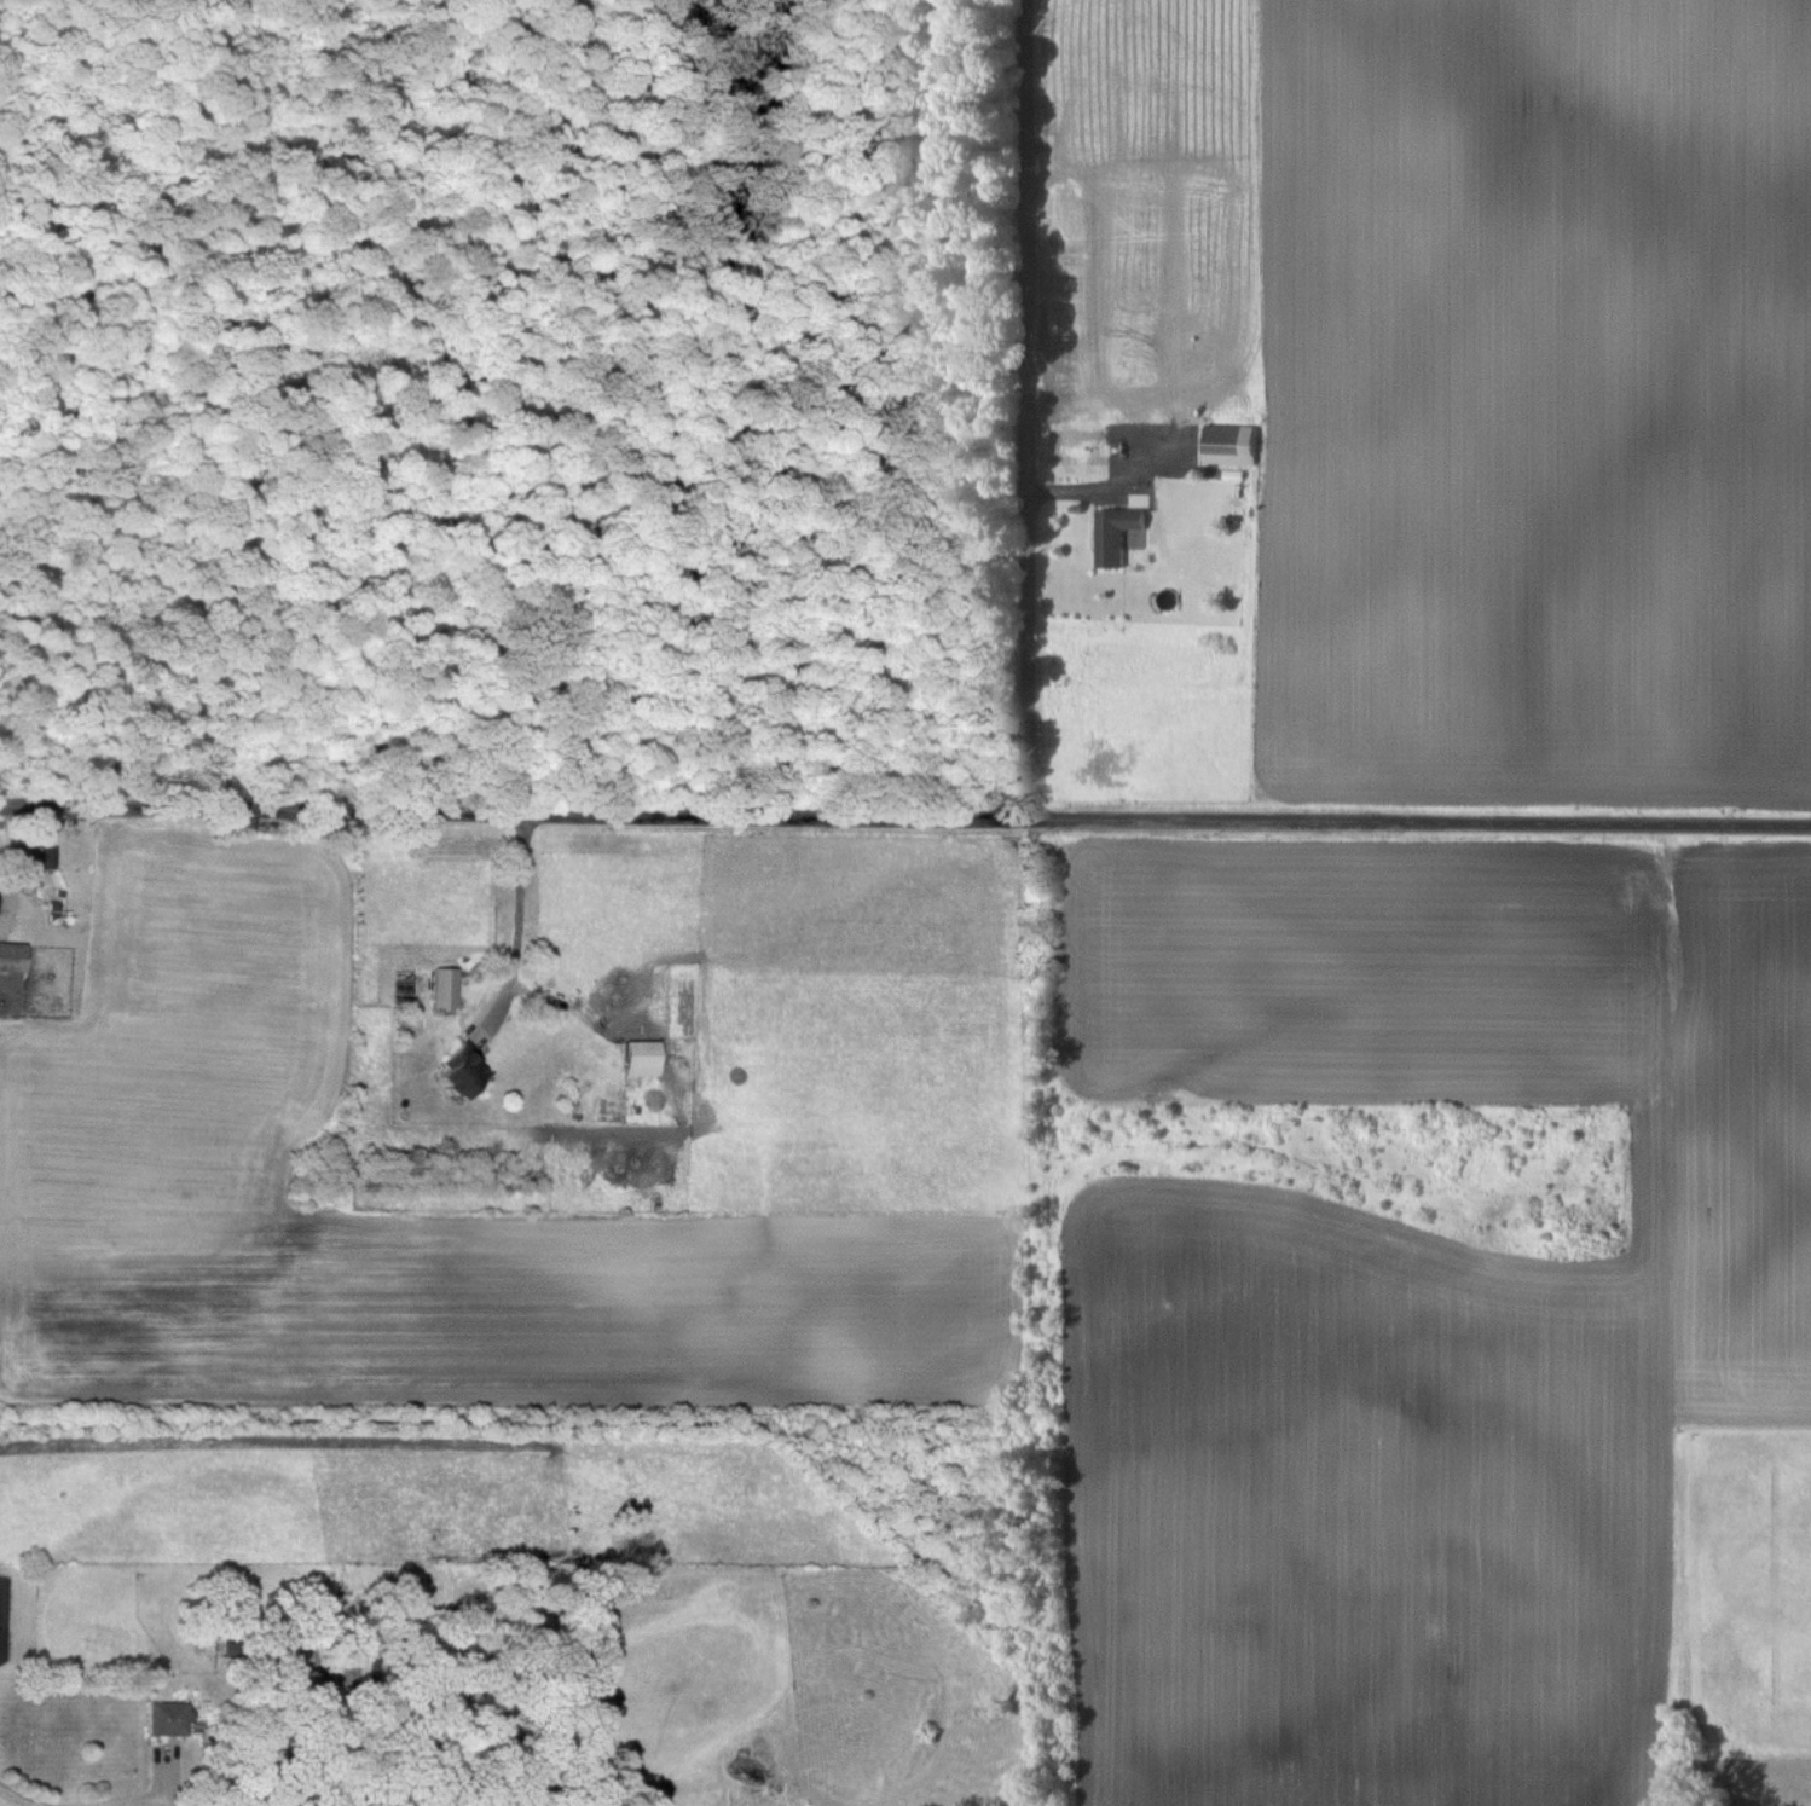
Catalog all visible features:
road: (1026, 158)
building: (1223, 444)
building: (1113, 534)
road: (1028, 568)
road: (904, 816)
building: (30, 857)
road: (522, 911)
building: (12, 959)
building: (444, 989)
building: (641, 1058)
building: (456, 1073)
building: (164, 1720)
road: (12, 1799)
road: (143, 1801)

